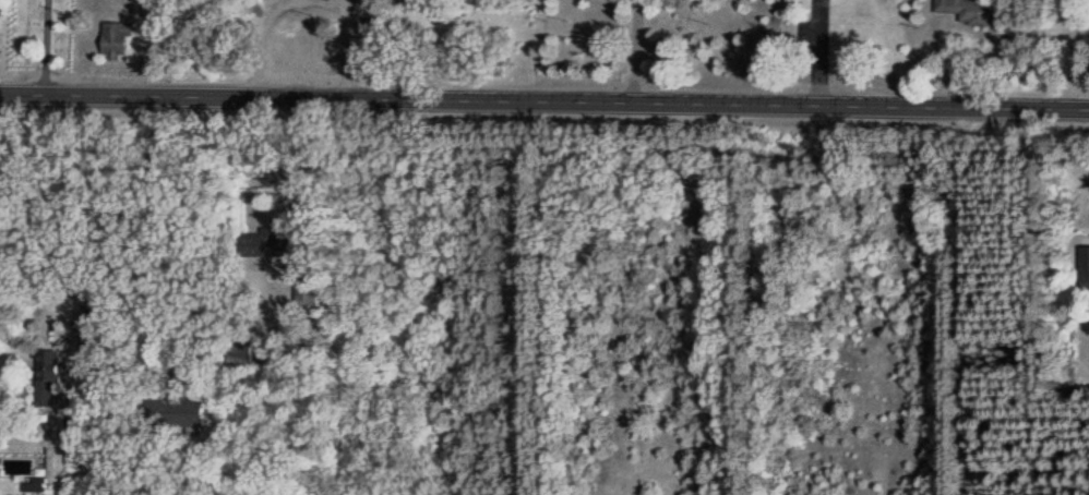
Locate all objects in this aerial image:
building: (141, 0)
building: (970, 12)
road: (262, 35)
building: (117, 38)
road: (350, 43)
road: (45, 46)
road: (637, 50)
road: (817, 51)
road: (543, 99)
road: (307, 167)
road: (146, 227)
building: (270, 245)
road: (37, 253)
building: (308, 290)
road: (966, 300)
building: (49, 377)
building: (179, 410)

